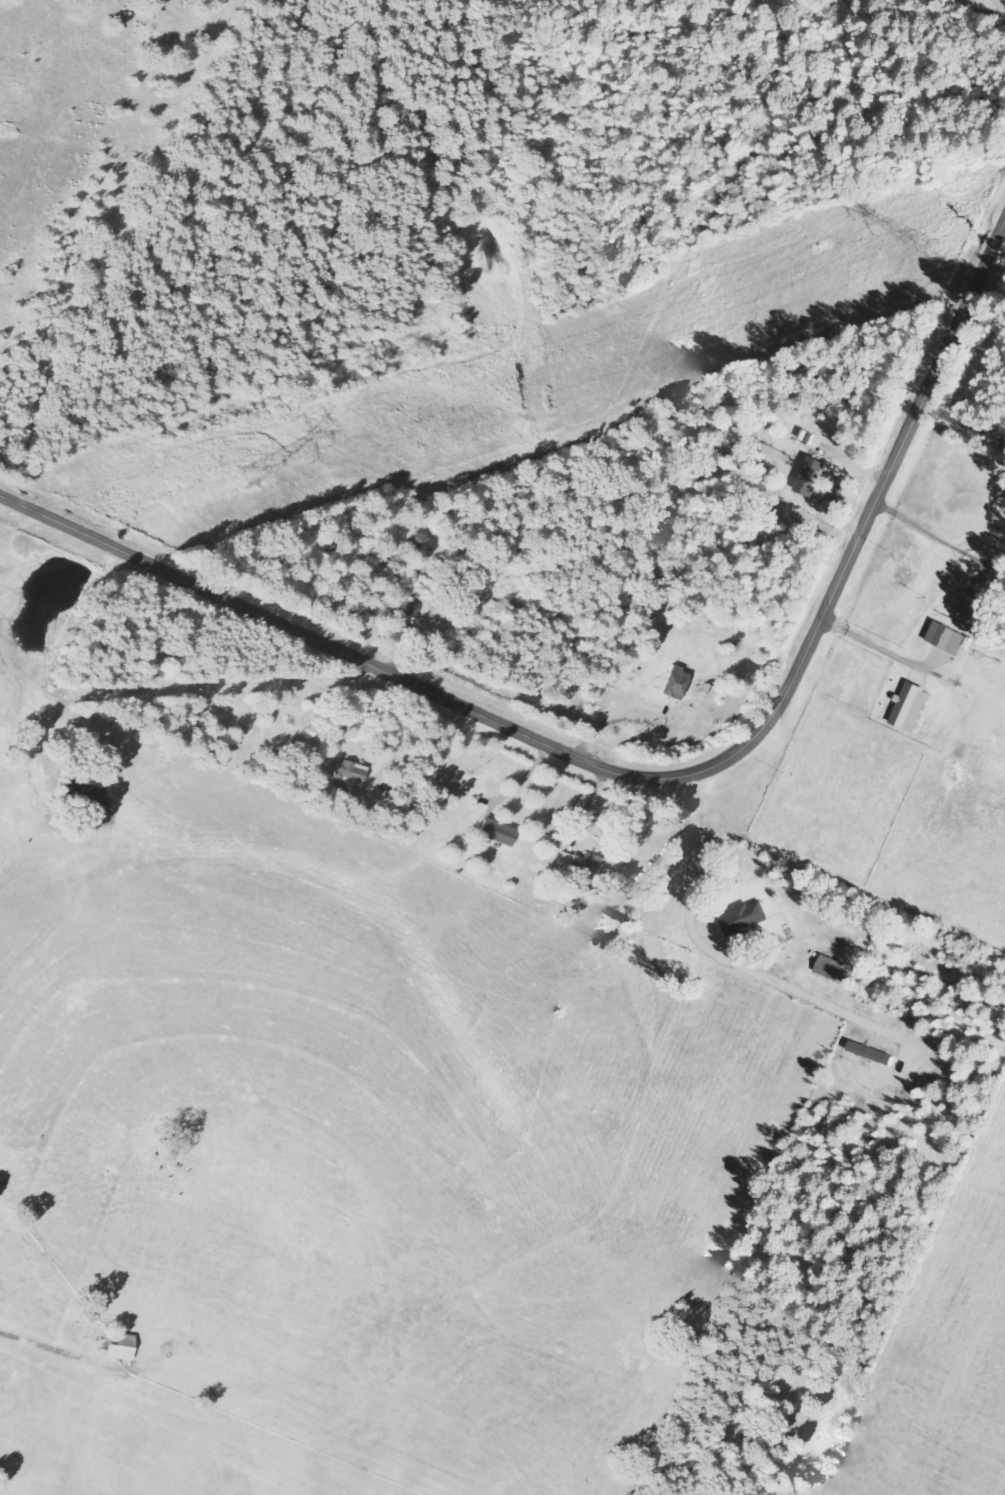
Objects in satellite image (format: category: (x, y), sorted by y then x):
power tower: (941, 251)
power tower: (254, 475)
building: (818, 477)
building: (972, 603)
building: (952, 638)
building: (974, 669)
building: (679, 683)
building: (917, 707)
building: (353, 776)
road: (638, 779)
building: (502, 833)
building: (583, 864)
road: (691, 876)
building: (750, 918)
building: (835, 968)
building: (125, 1346)

